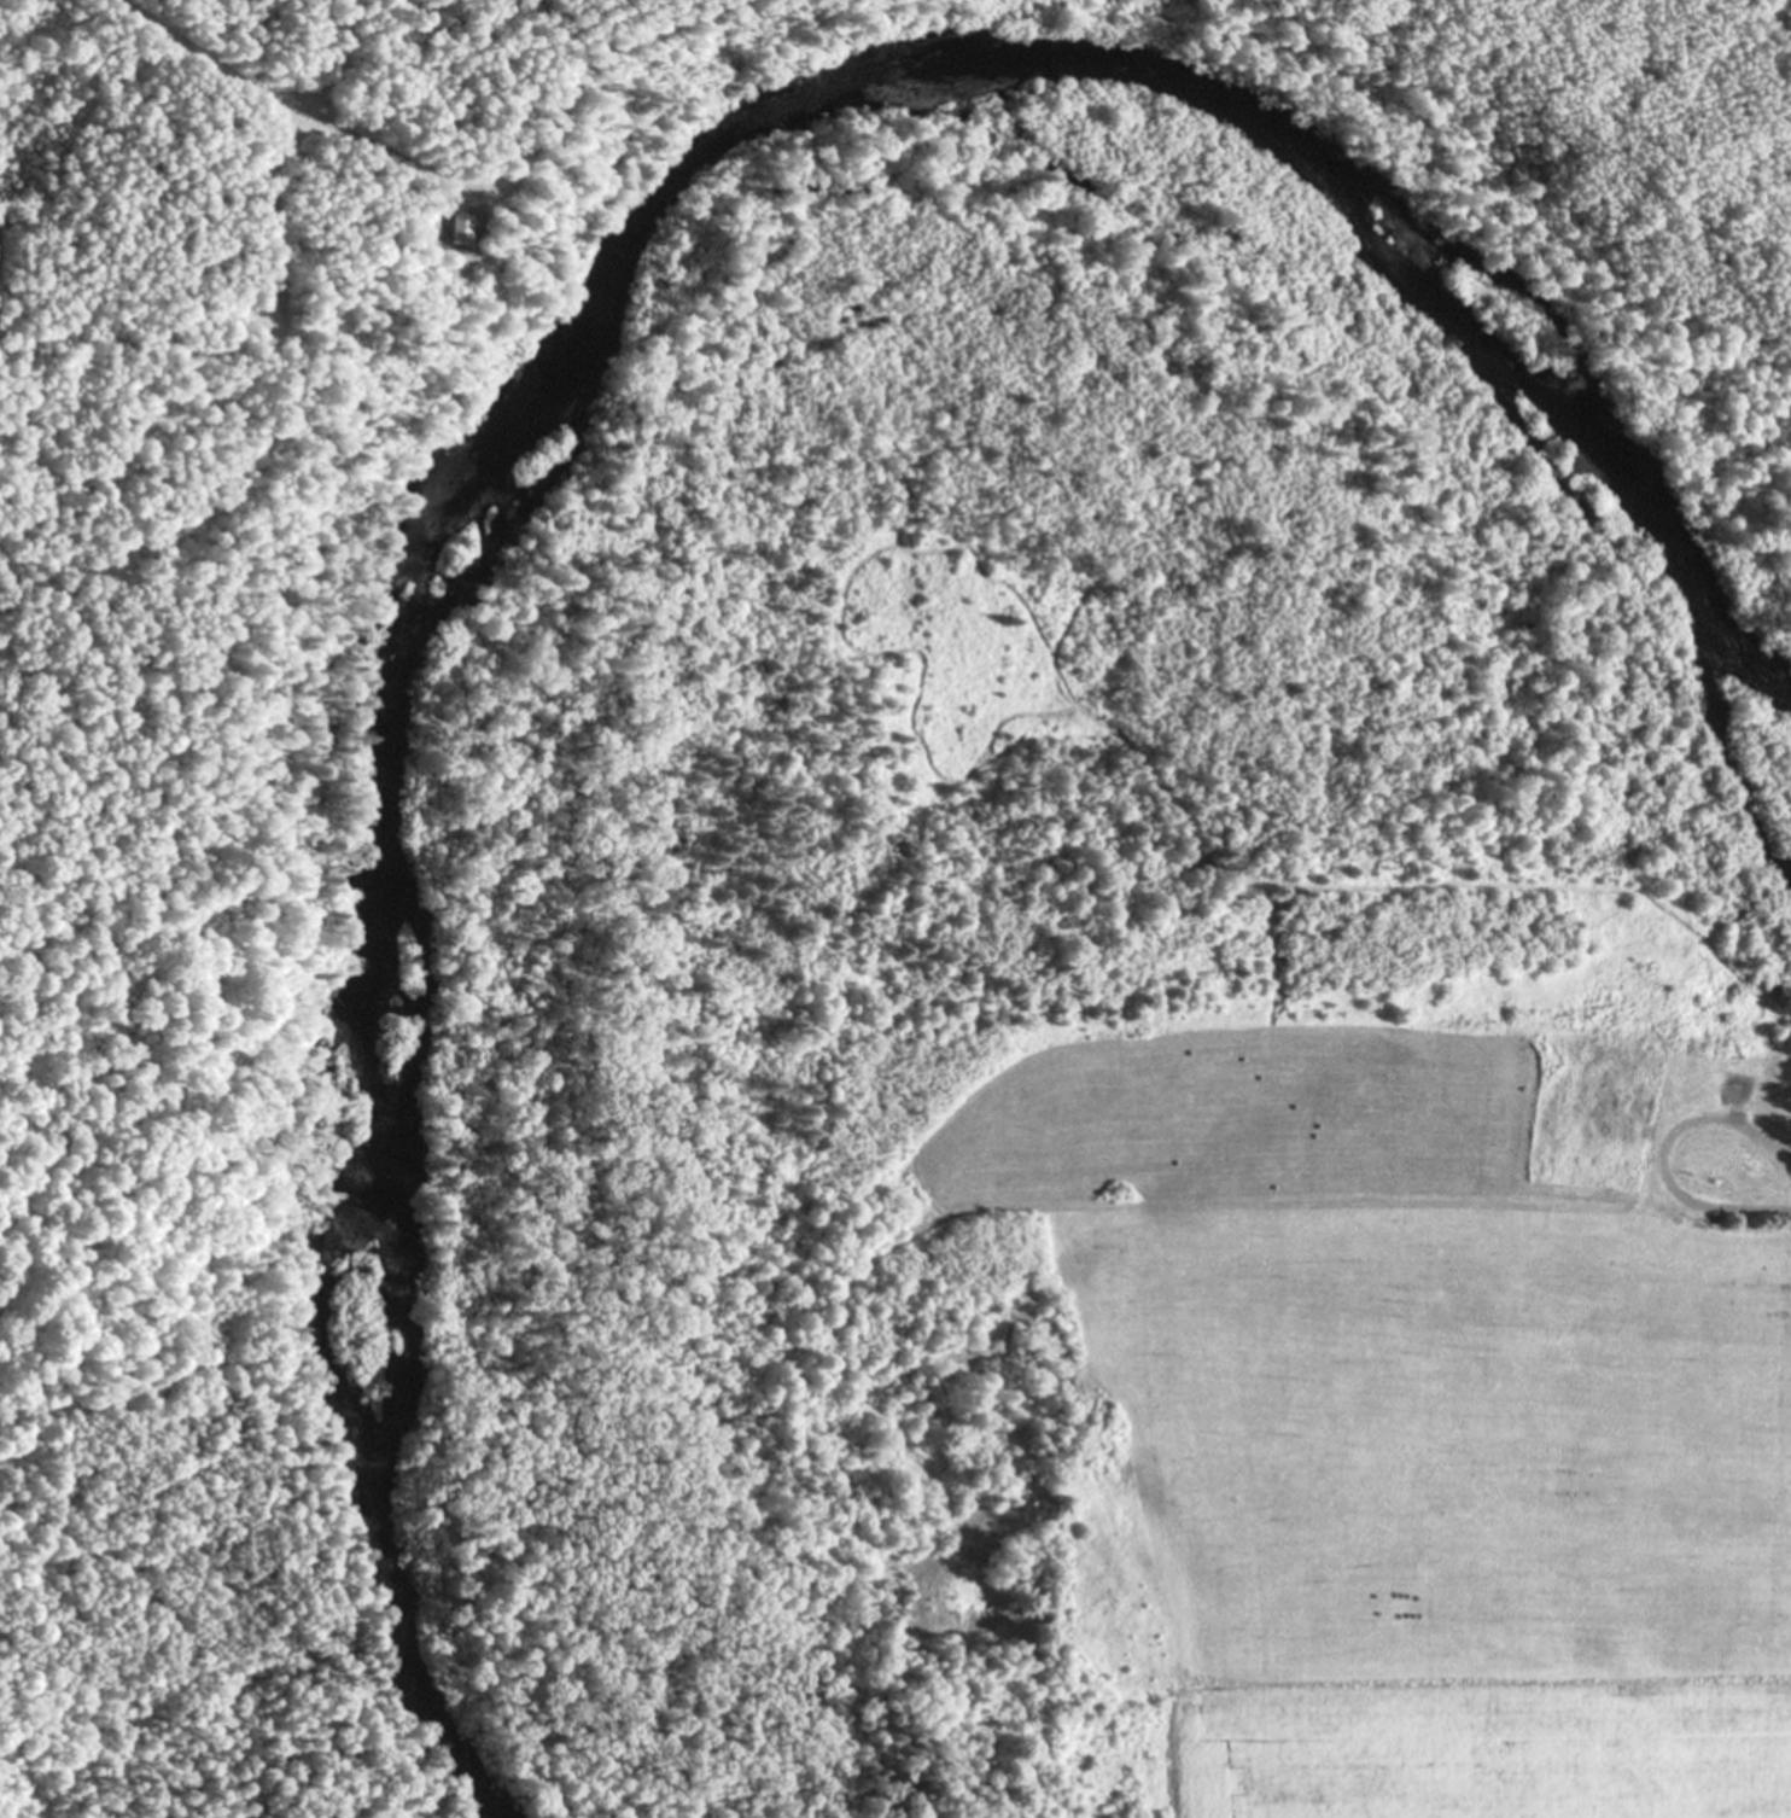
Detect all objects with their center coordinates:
road: (296, 103)
building: (448, 231)
river: (585, 330)
building: (1737, 1090)
building: (1614, 1111)
building: (1749, 1166)

